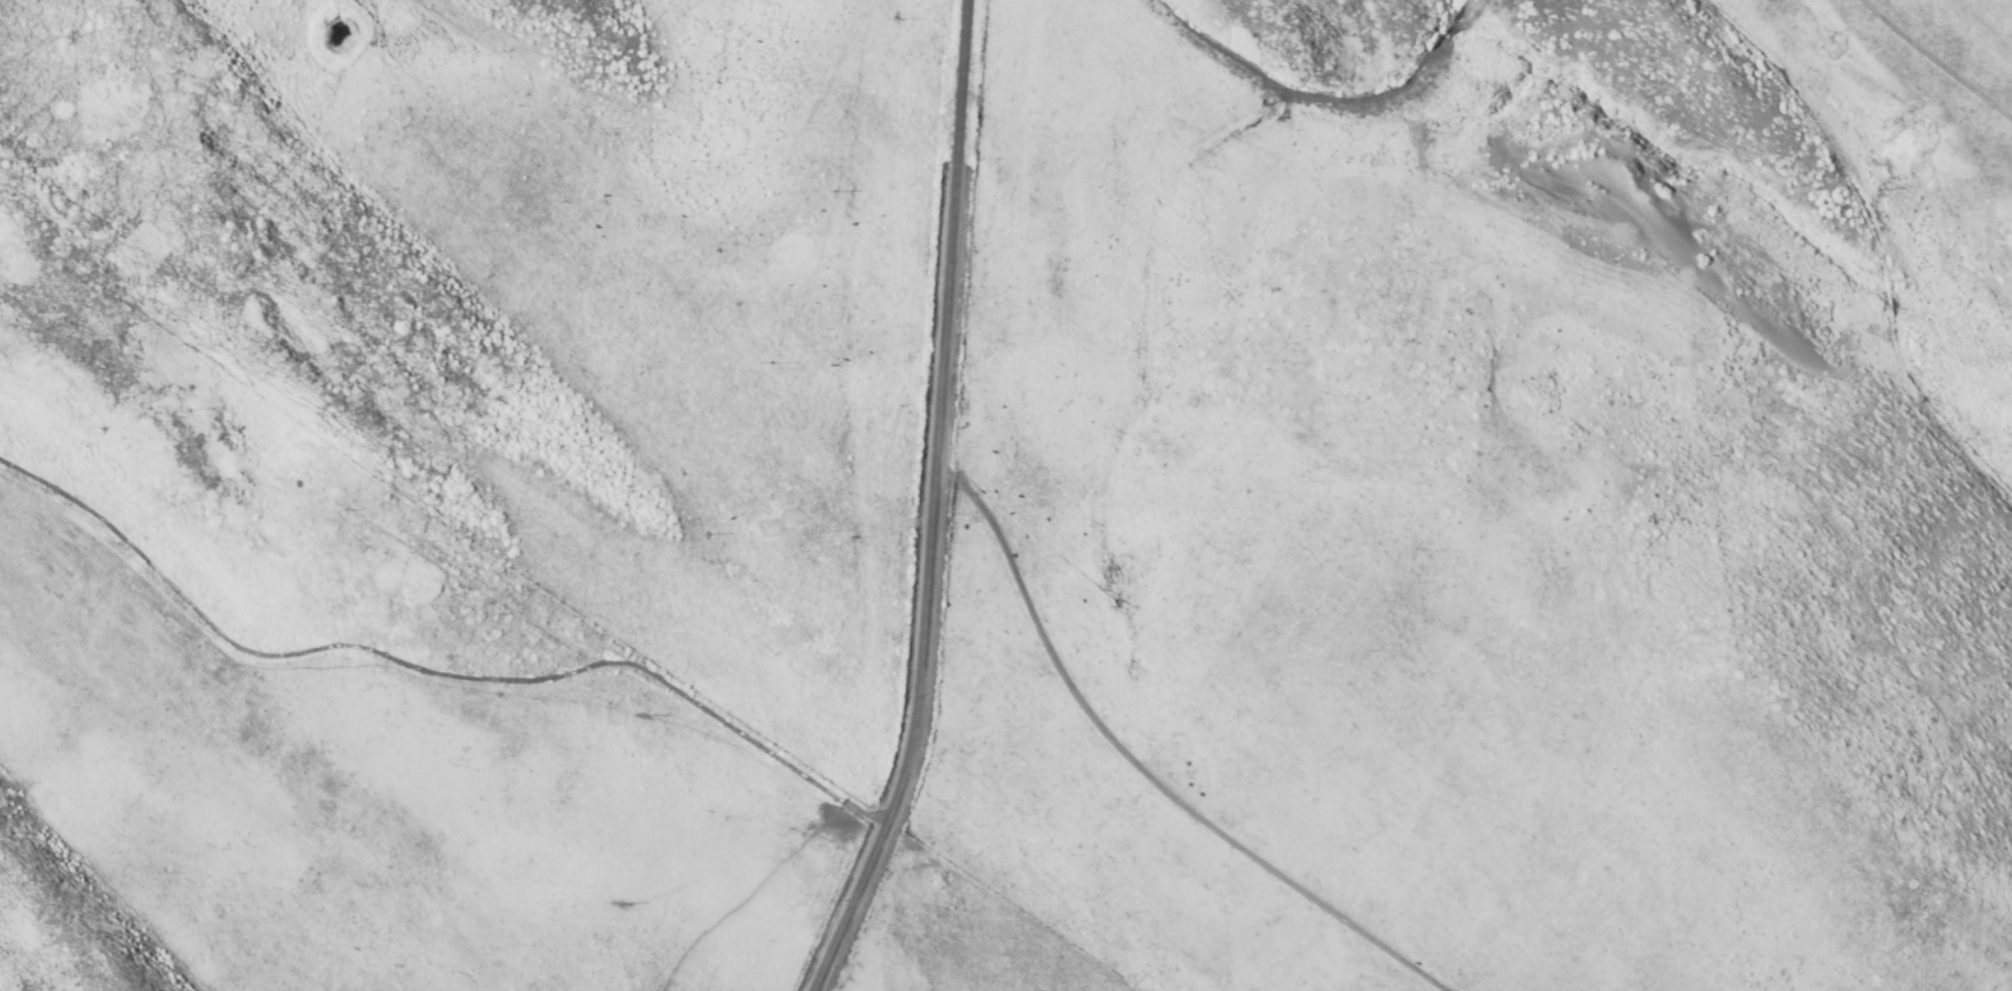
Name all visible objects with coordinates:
road: (1936, 63)
road: (932, 505)
road: (430, 672)
road: (1145, 769)

